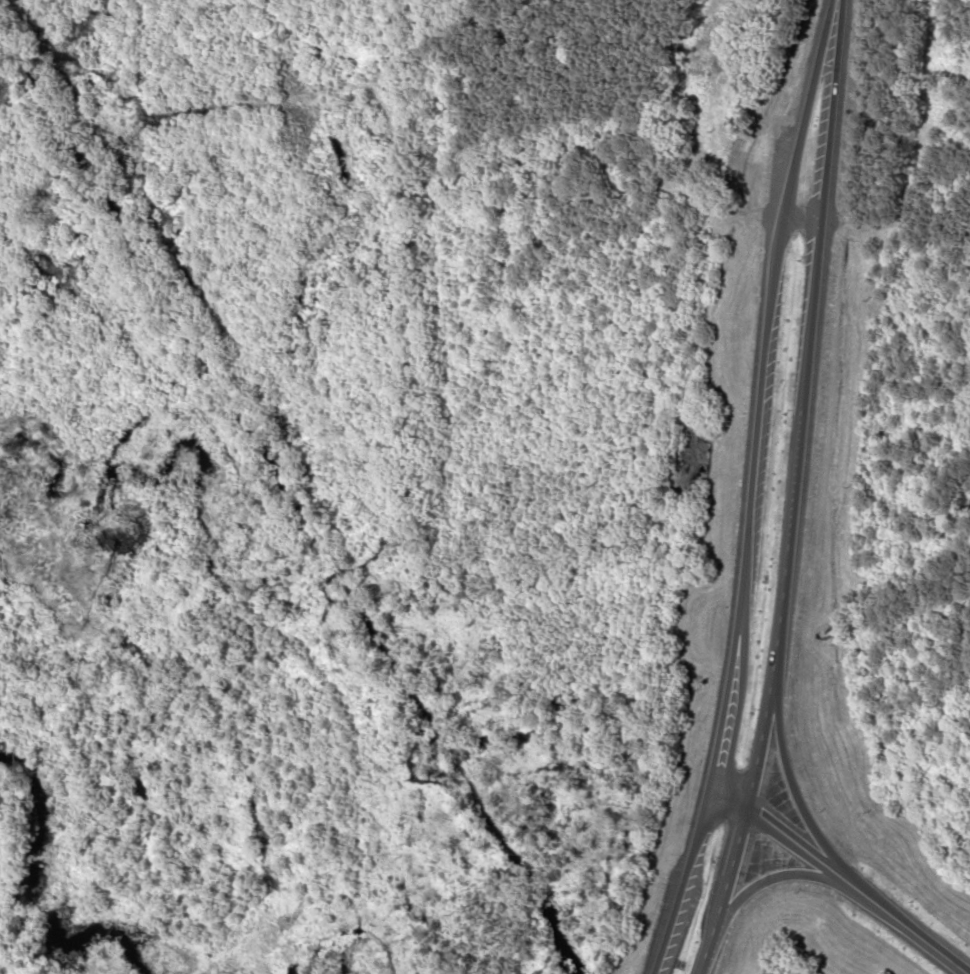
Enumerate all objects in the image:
road: (801, 219)
road: (815, 273)
road: (750, 489)
road: (771, 677)
road: (791, 781)
road: (841, 877)
road: (776, 878)
road: (723, 890)

